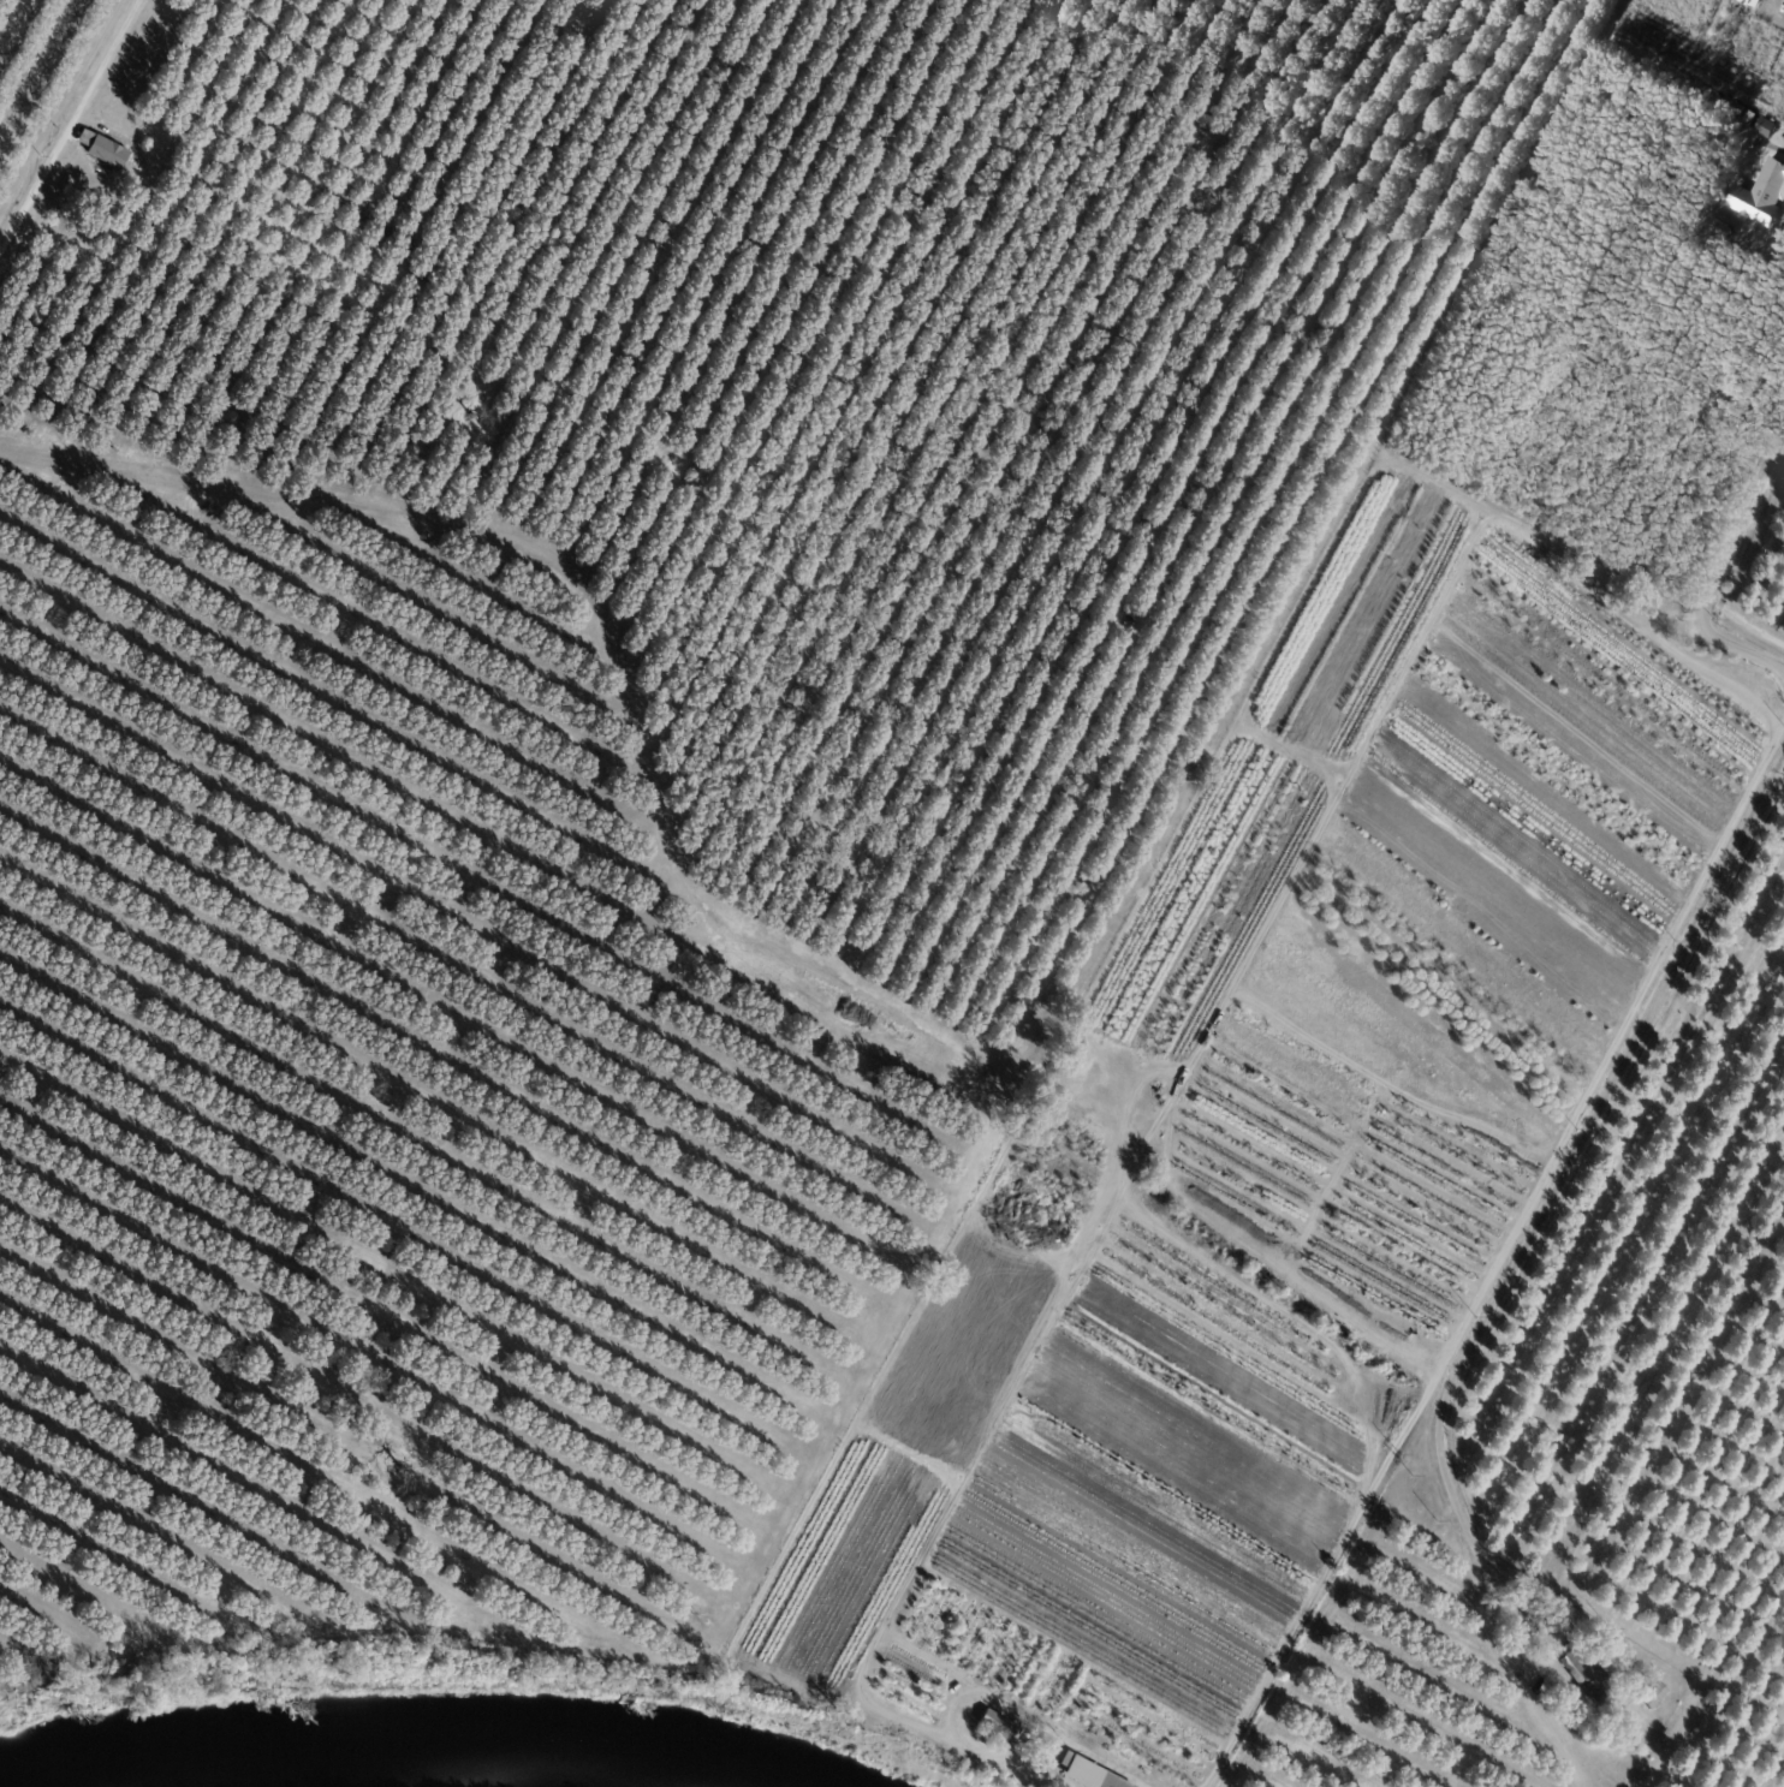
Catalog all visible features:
building: (1753, 2)
road: (69, 125)
building: (1766, 130)
road: (1776, 150)
building: (107, 154)
building: (1772, 179)
building: (109, 185)
building: (1762, 210)
road: (1719, 584)
road: (1747, 623)
building: (1162, 1102)
road: (1551, 1192)
road: (1494, 1252)
building: (1629, 1668)
building: (1590, 1679)
building: (1659, 1693)
building: (997, 1726)
river: (404, 1741)
building: (1012, 1744)
building: (1037, 1749)
building: (1086, 1774)

